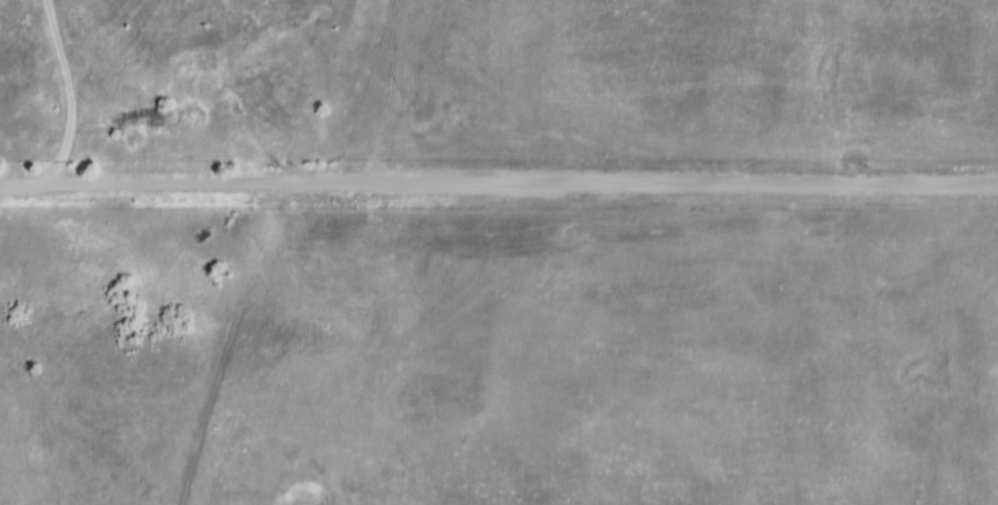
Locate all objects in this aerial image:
road: (388, 96)
road: (499, 178)
road: (228, 341)

